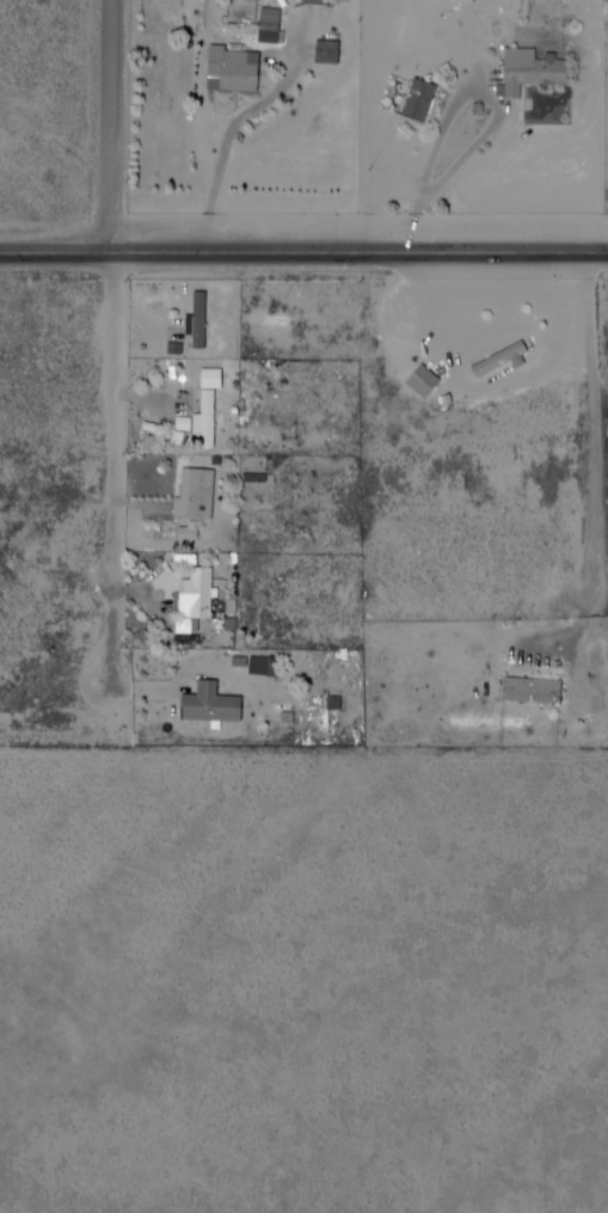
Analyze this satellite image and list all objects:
building: (307, 2)
building: (238, 68)
building: (536, 71)
building: (424, 100)
road: (122, 129)
road: (303, 258)
building: (192, 323)
building: (503, 360)
building: (210, 421)
road: (604, 434)
road: (124, 470)
building: (201, 495)
building: (201, 595)
building: (258, 666)
building: (538, 690)
building: (214, 703)

